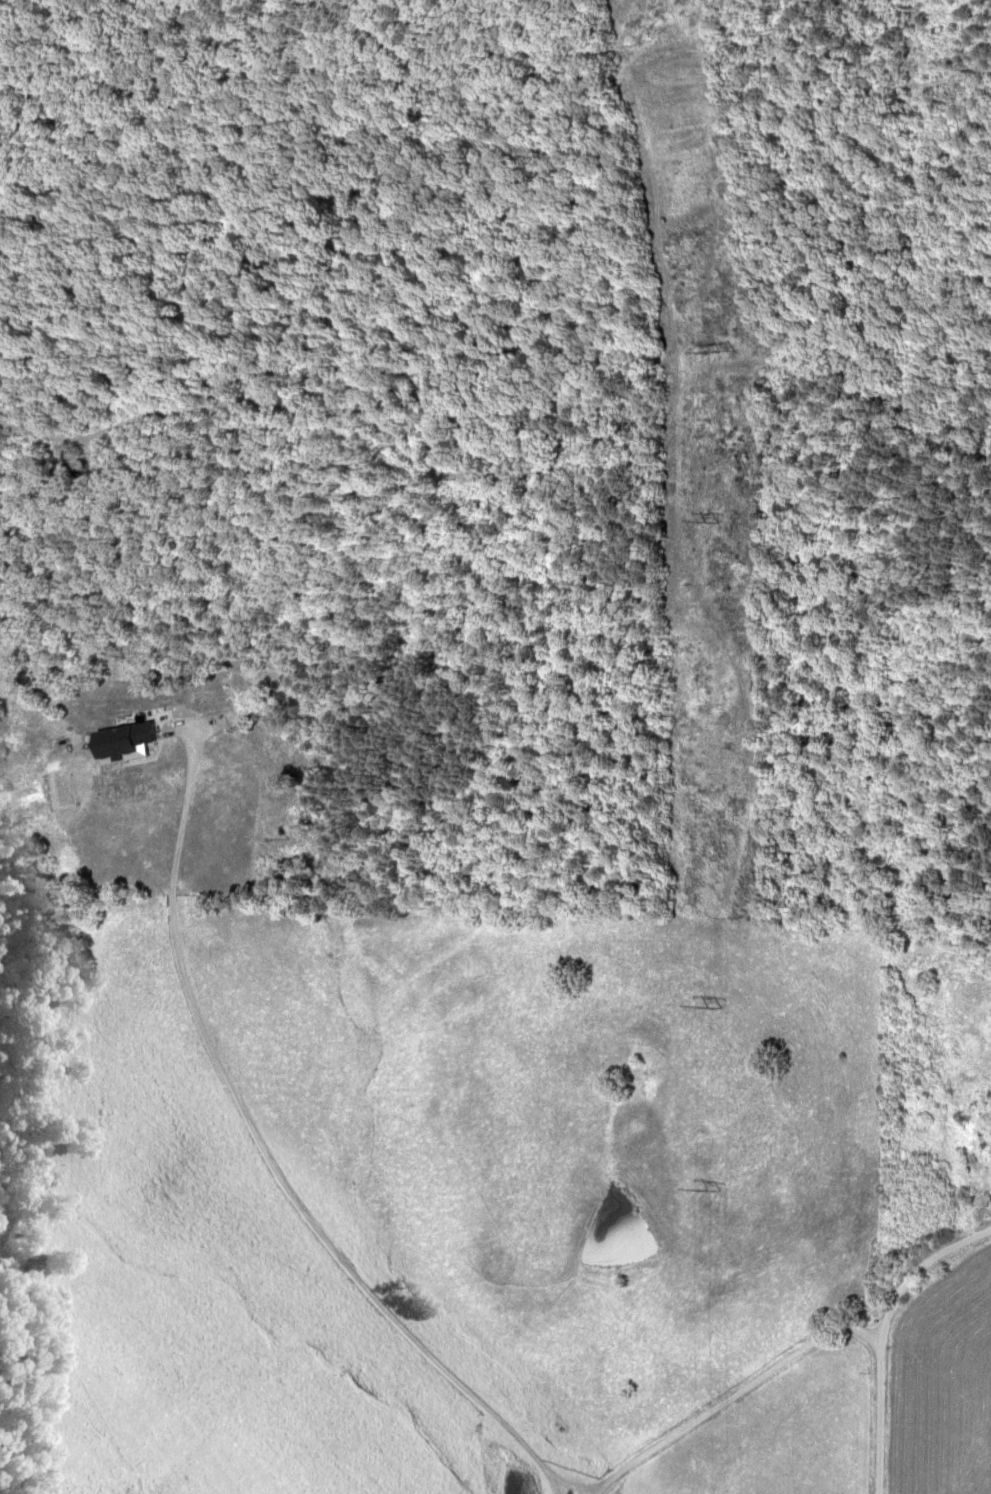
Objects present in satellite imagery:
power tower: (725, 349)
power tower: (717, 519)
power tower: (717, 1005)
power tower: (717, 1191)
road: (942, 1265)
road: (743, 1391)
road: (888, 1393)

